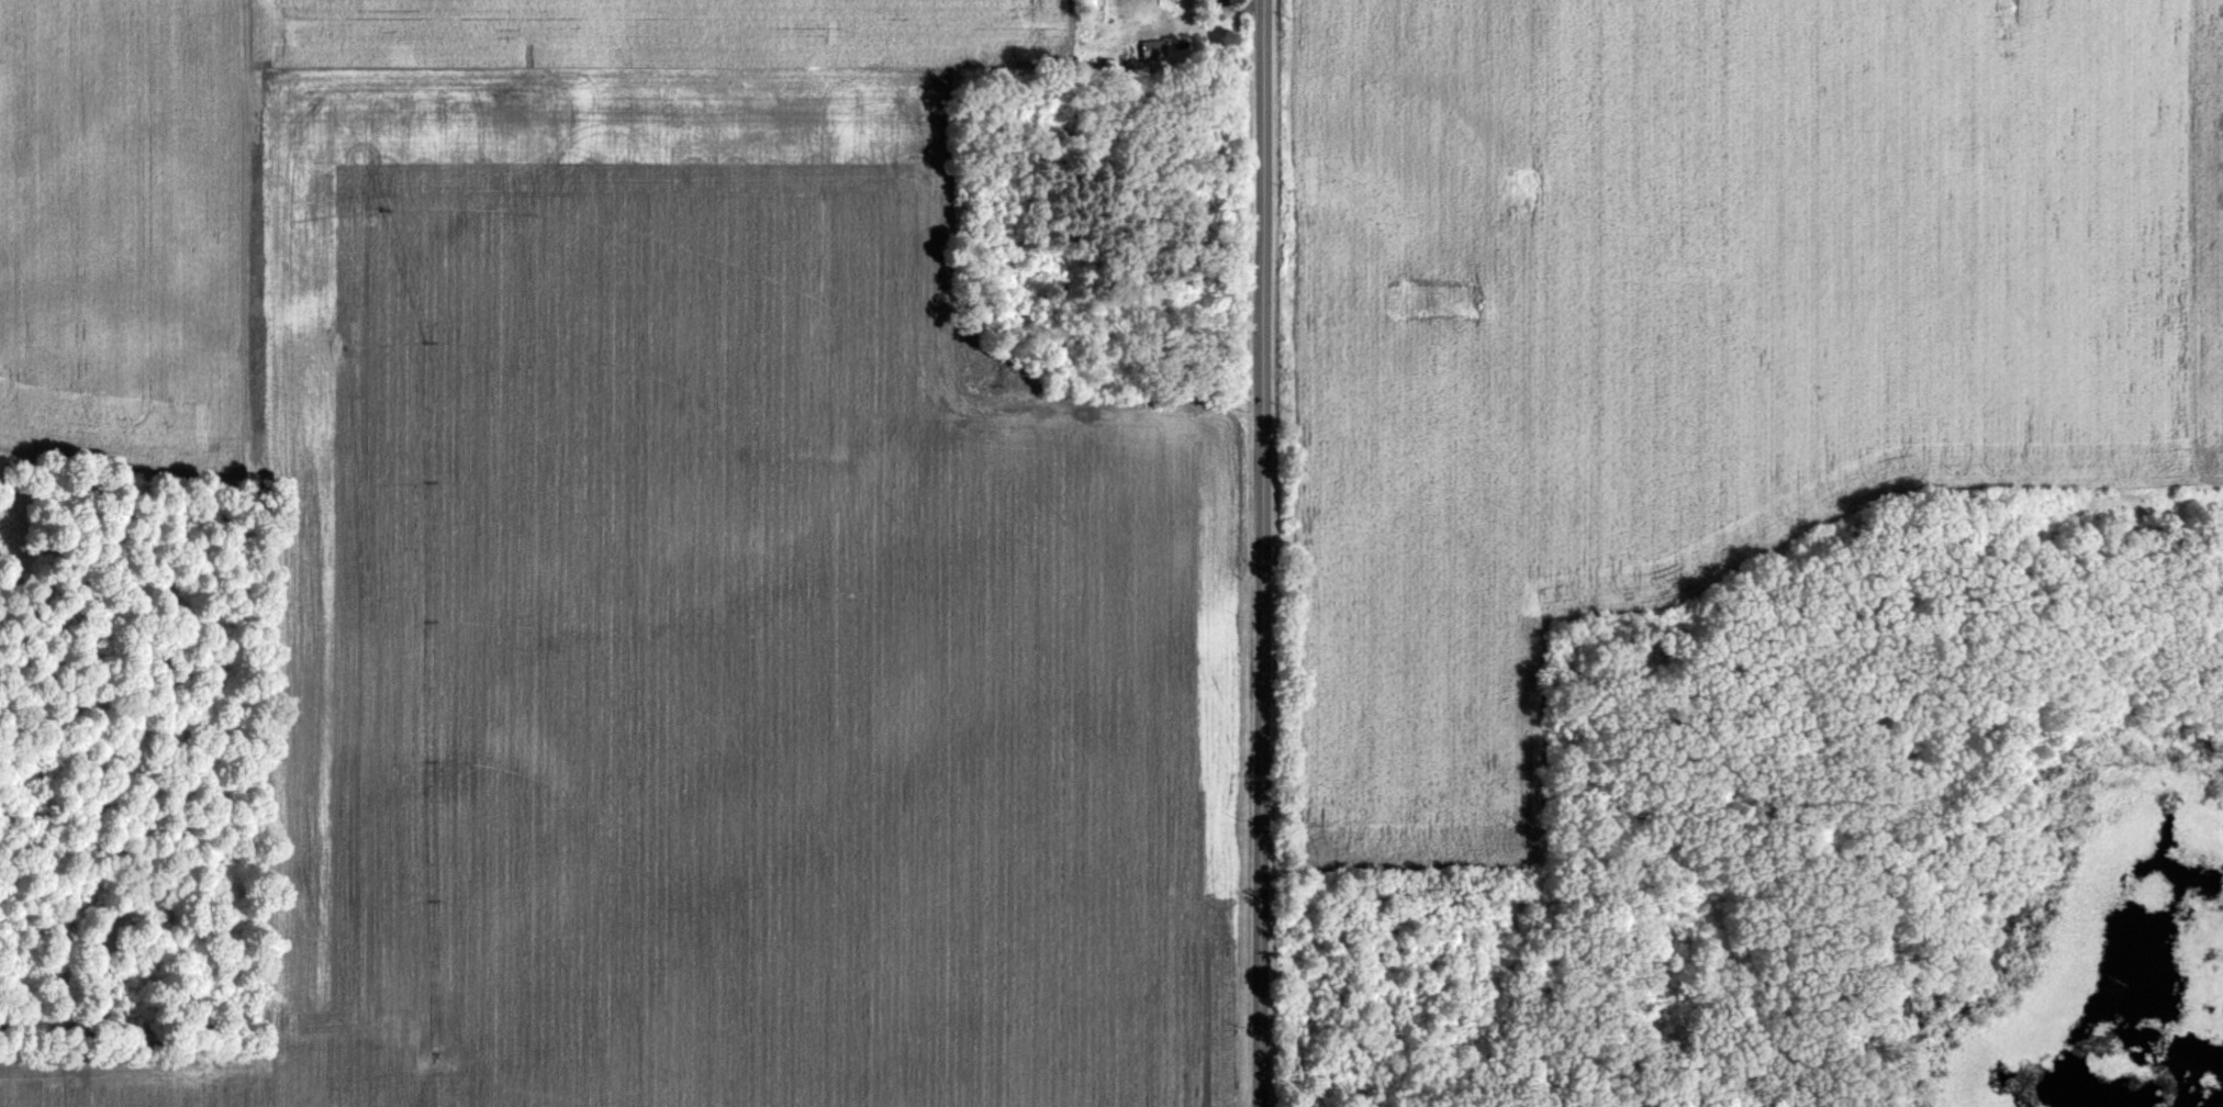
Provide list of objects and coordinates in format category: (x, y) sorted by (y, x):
road: (1263, 553)

